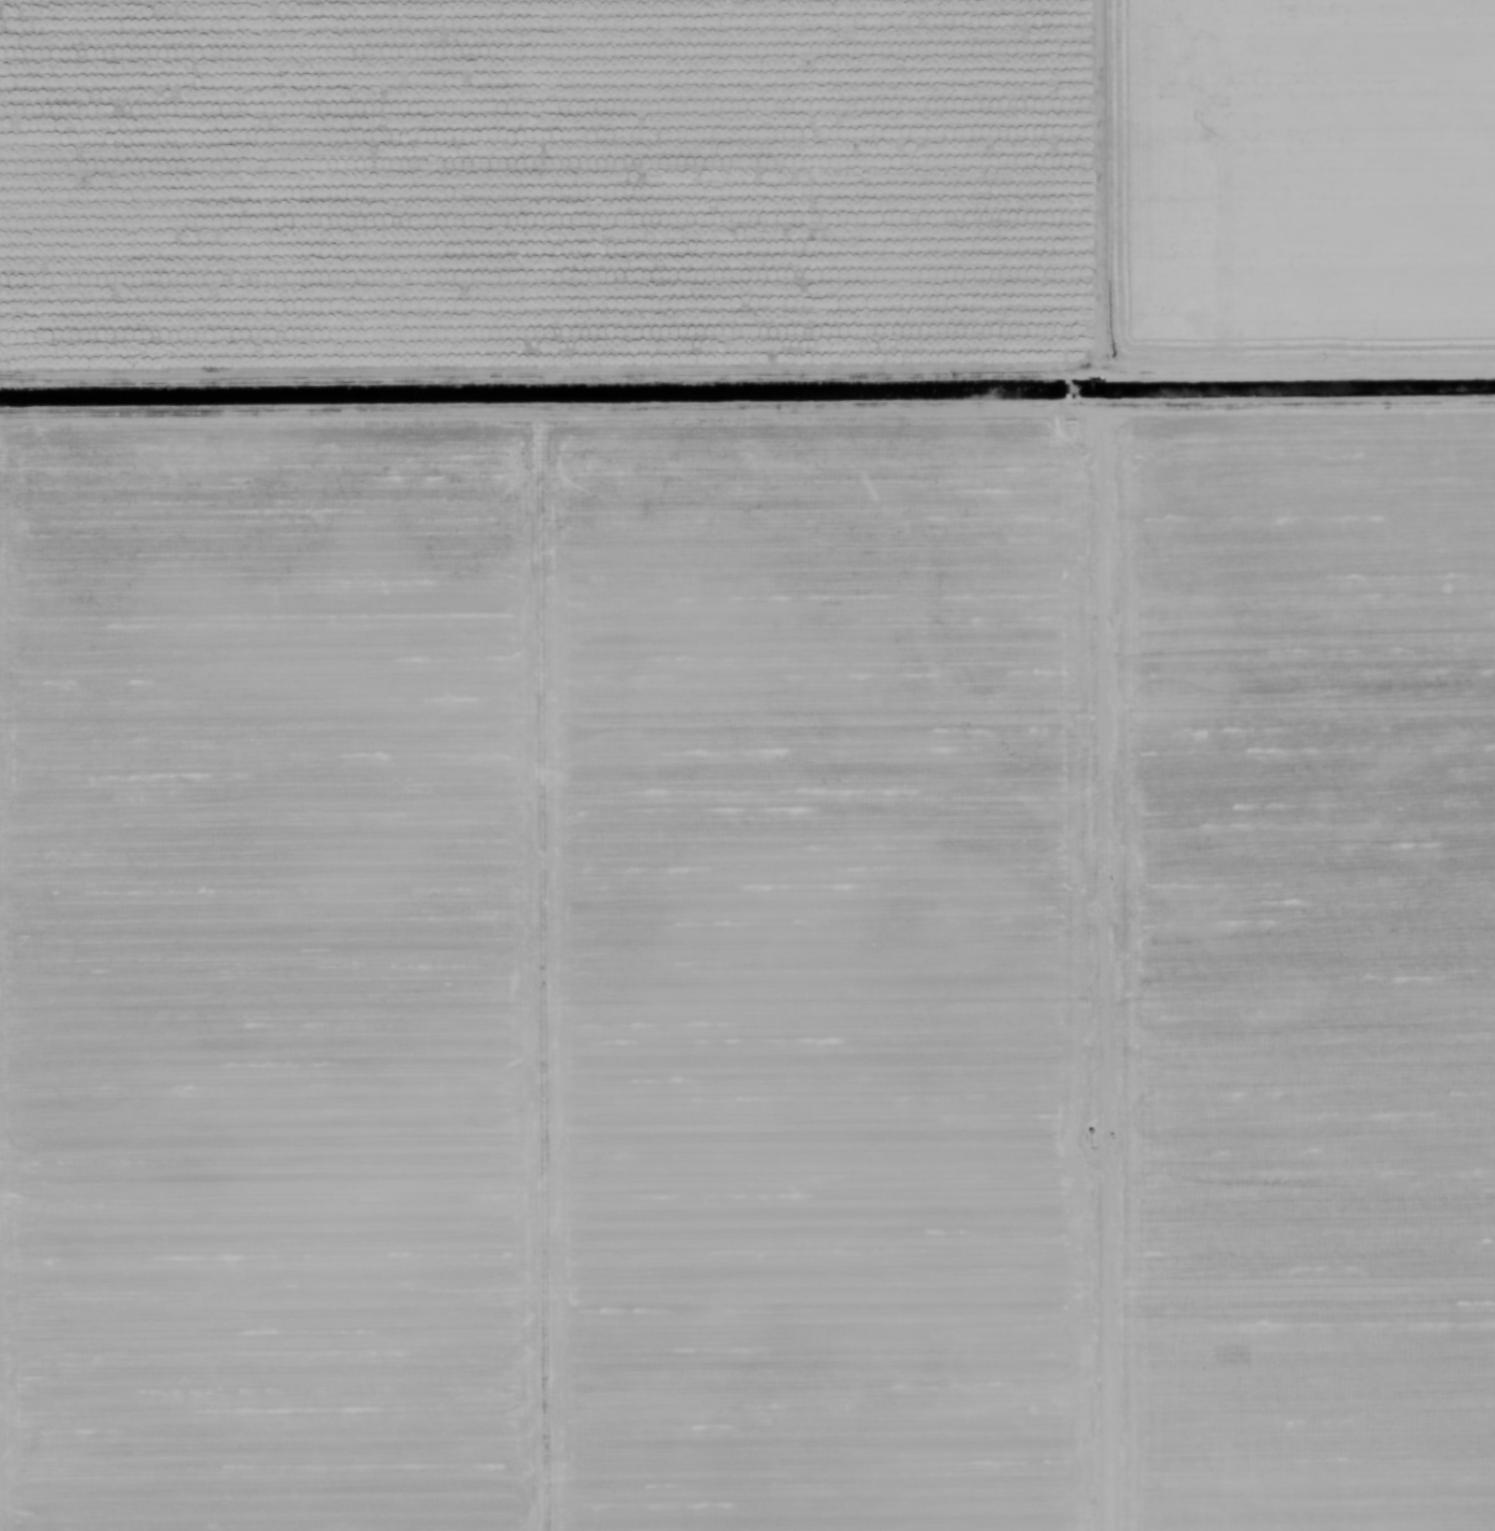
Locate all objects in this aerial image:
crop: (747, 765)

